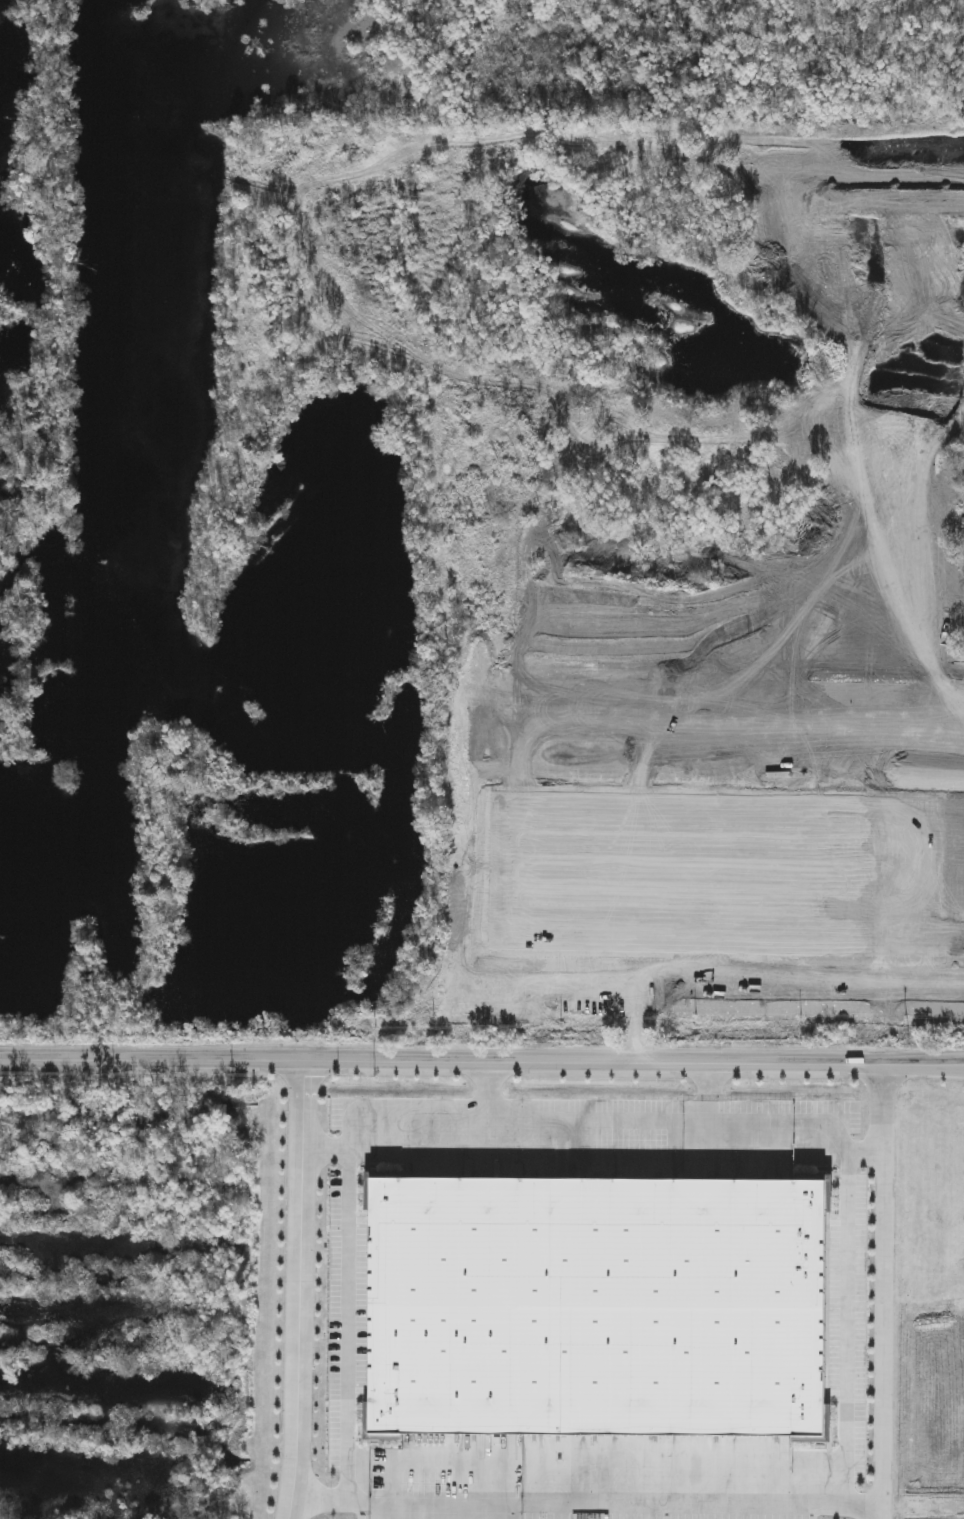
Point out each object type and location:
building: (299, 174)
road: (481, 1068)
road: (489, 1086)
road: (727, 1119)
road: (841, 1137)
road: (325, 1148)
road: (349, 1161)
road: (299, 1292)
road: (884, 1292)
building: (596, 1303)
road: (850, 1328)
road: (615, 1503)

